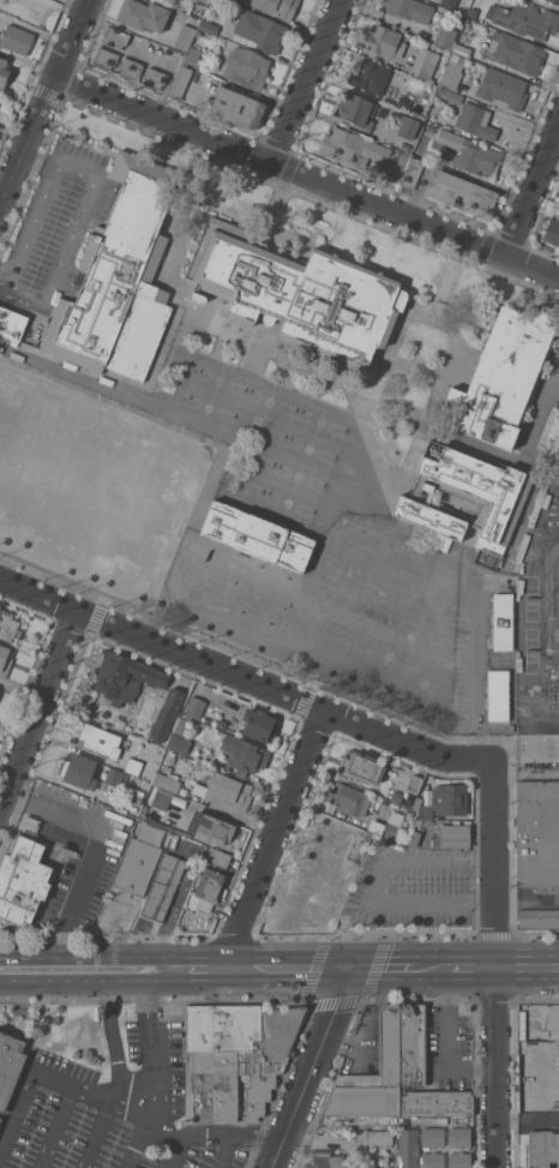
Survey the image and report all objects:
building: (173, 0)
building: (204, 1)
building: (554, 1)
building: (449, 4)
building: (277, 7)
building: (409, 10)
building: (144, 14)
building: (527, 19)
building: (208, 26)
building: (260, 30)
building: (468, 31)
building: (115, 36)
building: (445, 36)
building: (185, 37)
building: (17, 38)
building: (381, 41)
building: (461, 49)
building: (516, 53)
building: (192, 55)
building: (106, 58)
building: (422, 62)
building: (246, 67)
building: (131, 68)
building: (452, 71)
building: (4, 73)
building: (371, 77)
building: (155, 78)
road: (308, 80)
building: (181, 82)
building: (503, 88)
building: (450, 95)
building: (403, 102)
road: (46, 104)
building: (238, 107)
road: (199, 109)
building: (356, 109)
building: (475, 121)
building: (408, 127)
building: (350, 146)
building: (405, 146)
road: (43, 151)
building: (402, 158)
building: (477, 158)
building: (392, 172)
building: (411, 173)
road: (308, 175)
road: (94, 184)
road: (533, 192)
building: (461, 193)
building: (552, 230)
road: (5, 270)
building: (120, 277)
building: (297, 293)
building: (11, 325)
building: (503, 377)
building: (549, 435)
building: (465, 497)
building: (258, 535)
building: (503, 622)
building: (8, 627)
building: (5, 659)
building: (125, 677)
road: (245, 677)
road: (475, 688)
building: (0, 689)
building: (498, 694)
building: (194, 706)
road: (41, 711)
building: (167, 714)
building: (259, 725)
building: (181, 726)
building: (100, 739)
building: (179, 744)
building: (244, 755)
building: (170, 762)
building: (133, 766)
building: (360, 767)
building: (79, 771)
road: (525, 773)
building: (114, 777)
building: (167, 781)
building: (414, 783)
building: (226, 791)
building: (136, 795)
building: (160, 798)
building: (349, 798)
building: (444, 801)
building: (143, 814)
building: (210, 828)
building: (390, 831)
building: (537, 833)
building: (455, 835)
building: (413, 837)
building: (173, 840)
road: (275, 840)
building: (217, 857)
road: (473, 858)
building: (136, 865)
building: (23, 879)
road: (377, 880)
building: (163, 887)
building: (209, 888)
road: (528, 898)
road: (470, 903)
road: (74, 908)
building: (539, 917)
road: (497, 965)
road: (383, 969)
road: (431, 969)
road: (474, 969)
road: (528, 969)
road: (248, 970)
traffic signals: (353, 970)
road: (53, 971)
road: (126, 971)
building: (539, 1028)
road: (449, 1040)
road: (115, 1043)
road: (149, 1043)
building: (236, 1056)
building: (10, 1065)
road: (313, 1068)
building: (423, 1071)
building: (372, 1077)
road: (90, 1095)
building: (0, 1118)
road: (528, 1120)
road: (55, 1127)
road: (241, 1133)
road: (95, 1134)
parking lot: (84, 1137)
building: (379, 1137)
building: (432, 1137)
building: (459, 1137)
road: (132, 1140)
building: (407, 1148)
building: (542, 1148)
road: (169, 1150)
building: (324, 1160)
building: (433, 1160)
building: (459, 1160)

